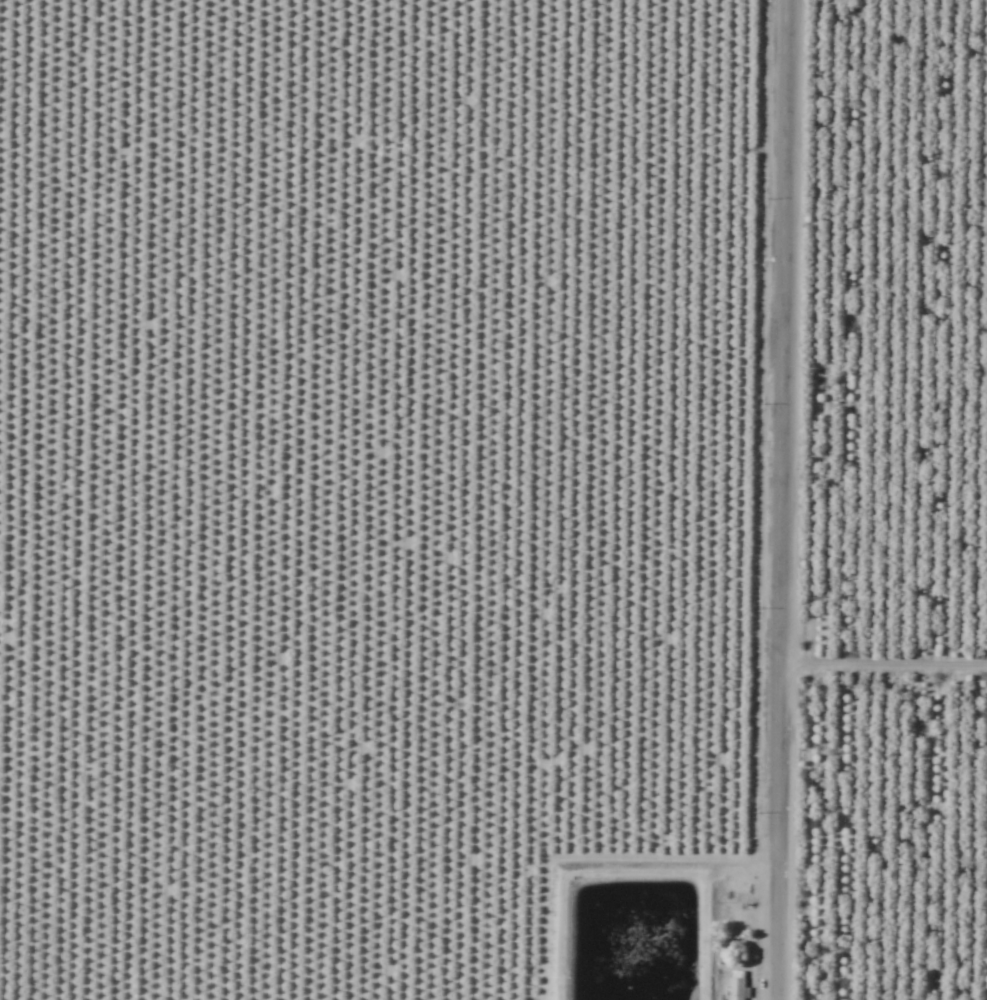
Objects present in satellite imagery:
crop: (493, 500)
road: (778, 500)
building: (736, 985)

